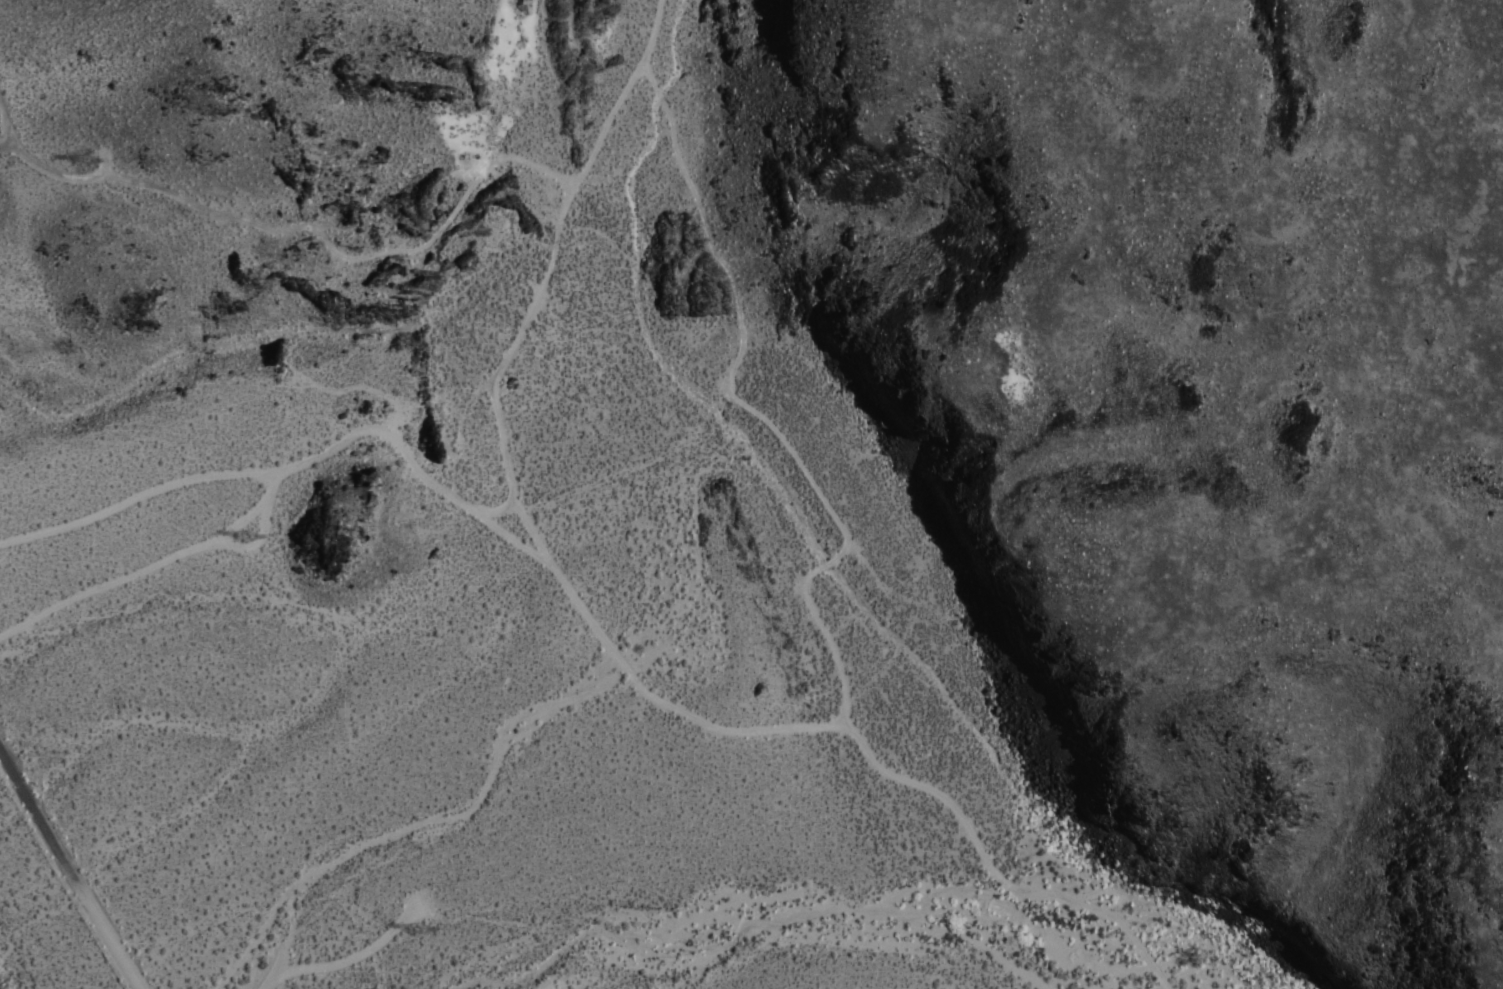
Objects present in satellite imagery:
power tower: (82, 154)
power tower: (245, 539)
power tower: (428, 930)

